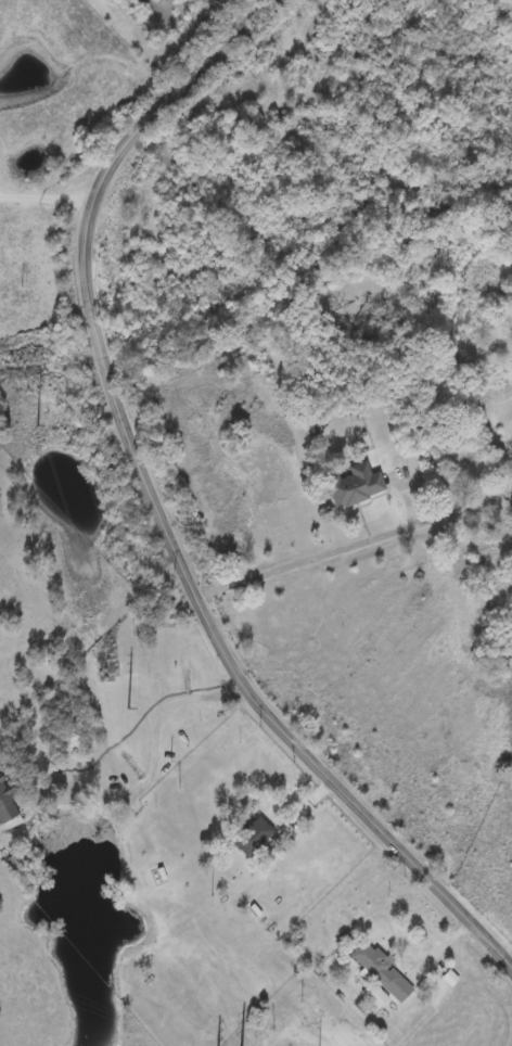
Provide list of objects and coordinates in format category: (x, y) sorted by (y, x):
road: (43, 200)
building: (351, 481)
road: (154, 511)
road: (354, 545)
road: (150, 766)
building: (5, 802)
building: (252, 833)
building: (156, 871)
building: (159, 878)
building: (380, 968)
building: (375, 994)

